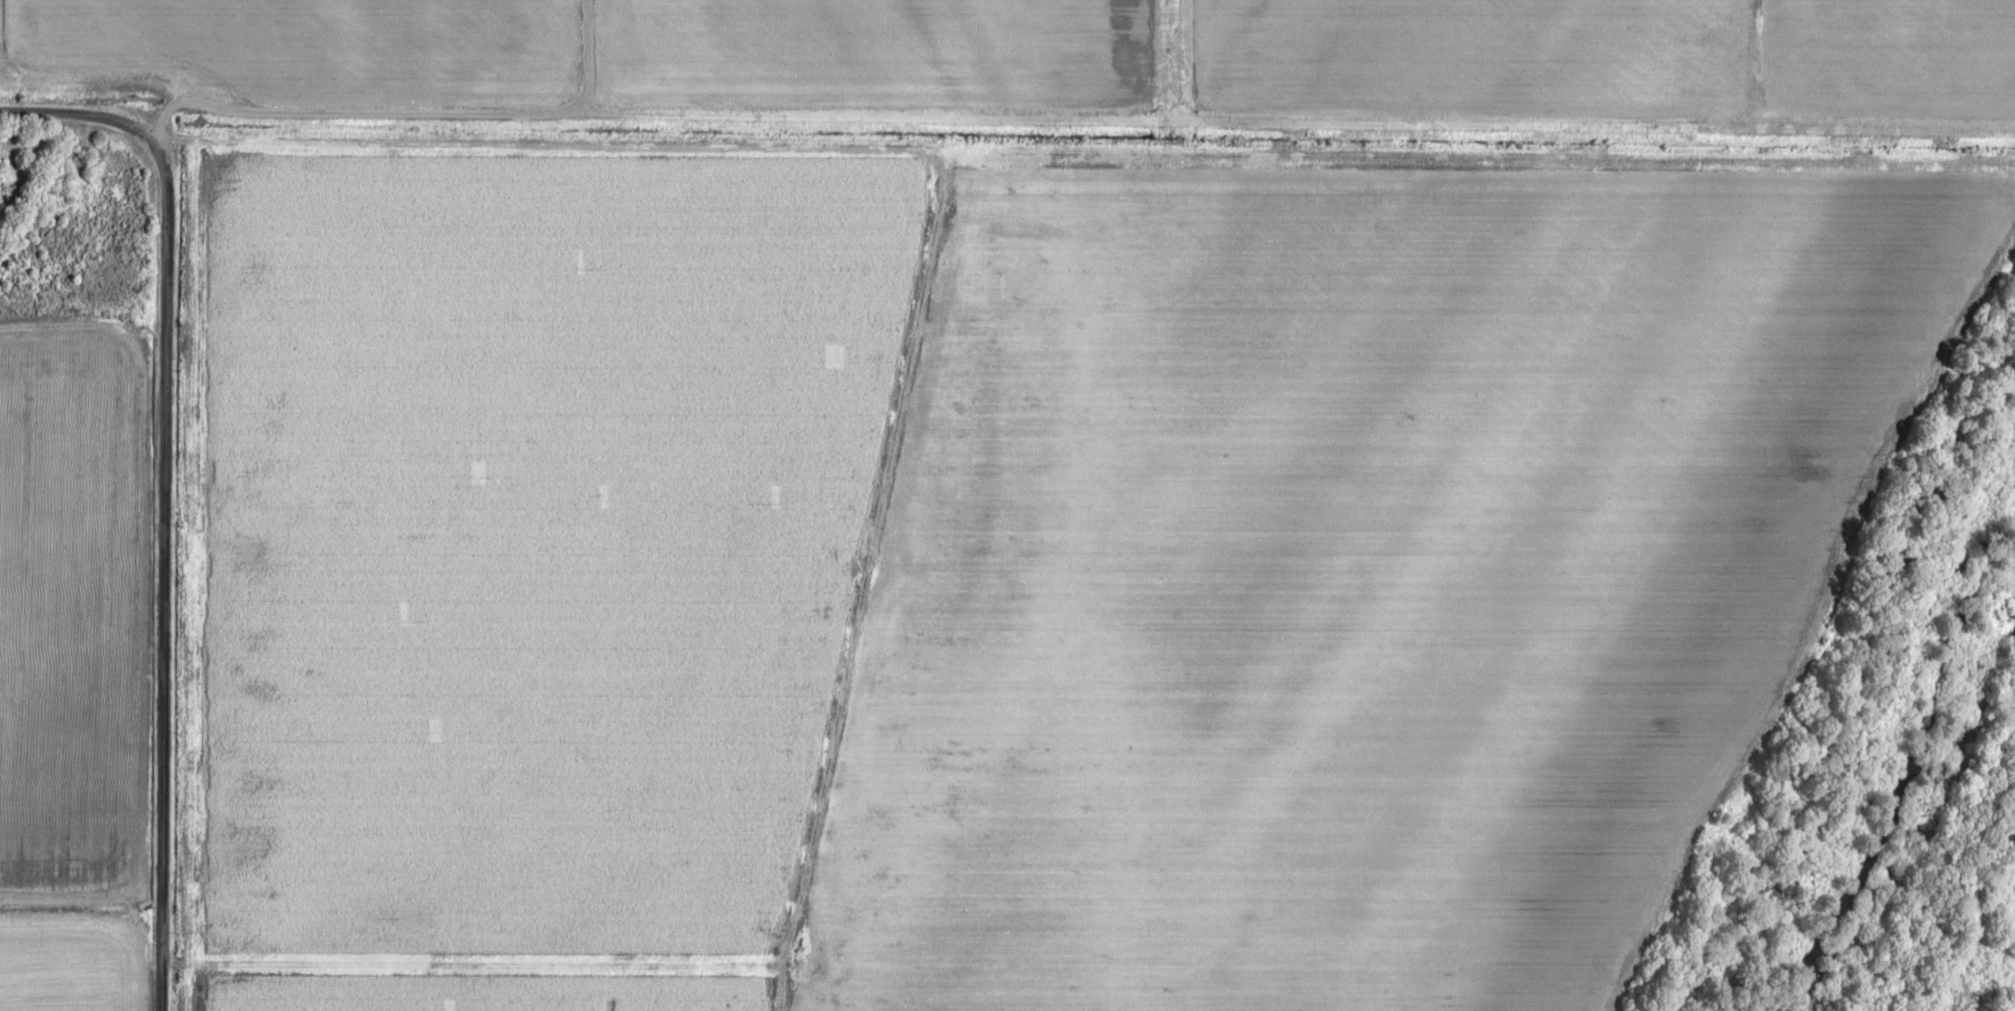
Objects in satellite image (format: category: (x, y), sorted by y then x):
road: (171, 68)
road: (79, 116)
road: (1082, 164)
road: (163, 573)
road: (874, 589)
road: (482, 966)

